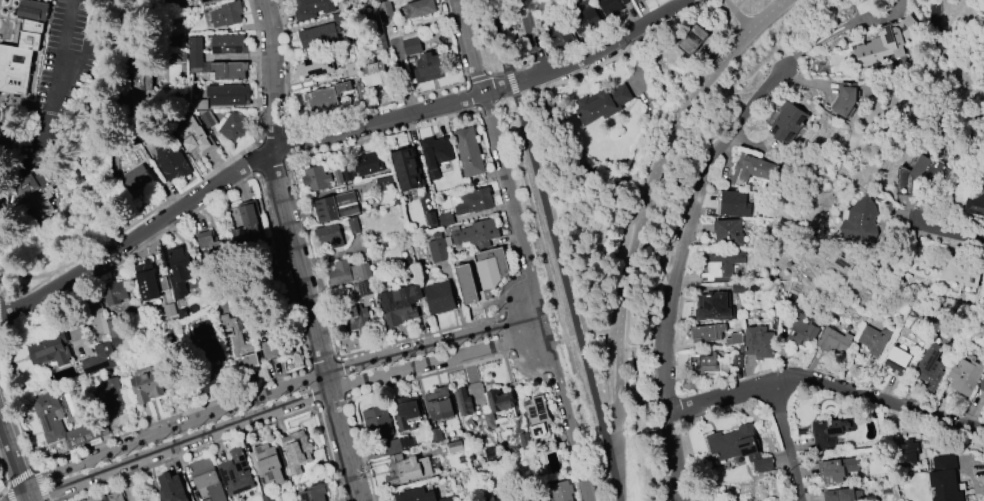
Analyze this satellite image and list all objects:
building: (635, 0)
building: (639, 0)
building: (197, 1)
building: (611, 6)
building: (312, 8)
building: (32, 9)
building: (418, 9)
building: (384, 11)
road: (734, 14)
building: (225, 15)
building: (585, 18)
building: (529, 29)
building: (321, 33)
road: (831, 33)
road: (497, 34)
building: (558, 34)
road: (533, 35)
building: (693, 39)
building: (177, 41)
road: (454, 41)
building: (411, 43)
building: (886, 43)
building: (228, 44)
road: (470, 45)
building: (194, 47)
road: (585, 52)
building: (20, 58)
road: (78, 62)
road: (287, 65)
building: (316, 66)
building: (430, 66)
building: (195, 67)
building: (352, 68)
building: (141, 69)
road: (258, 70)
building: (226, 71)
building: (373, 71)
parking lot: (66, 75)
road: (57, 76)
road: (485, 76)
road: (509, 81)
building: (359, 90)
road: (473, 95)
building: (324, 96)
building: (223, 97)
road: (18, 98)
road: (496, 99)
building: (844, 99)
building: (605, 102)
road: (375, 106)
road: (48, 112)
building: (786, 123)
building: (234, 127)
building: (193, 134)
road: (384, 136)
building: (11, 137)
road: (273, 137)
road: (287, 147)
road: (501, 151)
road: (270, 152)
building: (468, 152)
building: (435, 154)
building: (167, 155)
road: (257, 158)
building: (360, 166)
road: (270, 167)
building: (406, 168)
building: (751, 168)
road: (548, 170)
road: (20, 172)
building: (337, 176)
building: (136, 178)
building: (315, 178)
building: (922, 178)
road: (111, 181)
building: (384, 183)
road: (503, 192)
building: (31, 197)
building: (473, 201)
building: (734, 204)
building: (975, 205)
building: (336, 206)
building: (430, 218)
building: (445, 219)
building: (861, 220)
building: (246, 224)
road: (172, 225)
building: (352, 225)
road: (637, 226)
road: (131, 227)
building: (476, 232)
road: (947, 232)
building: (728, 233)
building: (328, 236)
building: (437, 250)
road: (655, 250)
road: (296, 252)
building: (215, 254)
road: (335, 255)
road: (313, 259)
building: (720, 266)
building: (180, 269)
road: (674, 269)
building: (489, 270)
road: (86, 272)
road: (283, 272)
building: (961, 272)
building: (347, 273)
road: (613, 274)
road: (26, 275)
road: (529, 278)
building: (467, 284)
building: (156, 289)
building: (117, 291)
road: (505, 291)
road: (43, 294)
road: (537, 295)
building: (439, 297)
road: (567, 297)
building: (399, 305)
building: (713, 307)
building: (354, 315)
building: (100, 319)
building: (802, 332)
road: (602, 333)
building: (707, 333)
road: (0, 334)
road: (507, 335)
road: (422, 337)
road: (0, 338)
building: (733, 338)
building: (205, 340)
building: (237, 340)
building: (834, 340)
building: (873, 340)
road: (563, 341)
building: (758, 342)
building: (276, 348)
building: (49, 349)
road: (531, 349)
building: (99, 360)
building: (895, 360)
building: (737, 361)
road: (325, 363)
building: (710, 363)
building: (929, 367)
road: (525, 373)
road: (431, 376)
road: (553, 376)
building: (964, 376)
road: (345, 378)
road: (639, 381)
building: (146, 384)
building: (981, 384)
road: (825, 385)
road: (314, 387)
road: (279, 392)
building: (109, 395)
road: (334, 401)
building: (462, 401)
road: (15, 403)
building: (438, 404)
road: (284, 406)
building: (498, 407)
building: (407, 413)
road: (173, 418)
building: (538, 419)
building: (377, 422)
building: (63, 423)
building: (469, 423)
building: (801, 432)
building: (830, 432)
road: (786, 441)
building: (732, 443)
building: (390, 447)
building: (454, 447)
road: (12, 449)
building: (296, 450)
road: (362, 450)
building: (909, 451)
road: (189, 453)
road: (330, 453)
building: (269, 464)
building: (762, 464)
building: (402, 469)
building: (835, 470)
building: (235, 474)
road: (3, 477)
road: (22, 478)
building: (206, 478)
building: (943, 479)
road: (42, 484)
building: (172, 487)
road: (601, 489)
road: (3, 491)
building: (561, 491)
road: (26, 492)
building: (314, 493)
road: (9, 494)
building: (843, 494)
building: (414, 495)
building: (106, 496)
building: (267, 497)
road: (25, 498)
road: (28, 498)
building: (502, 500)
building: (538, 500)

